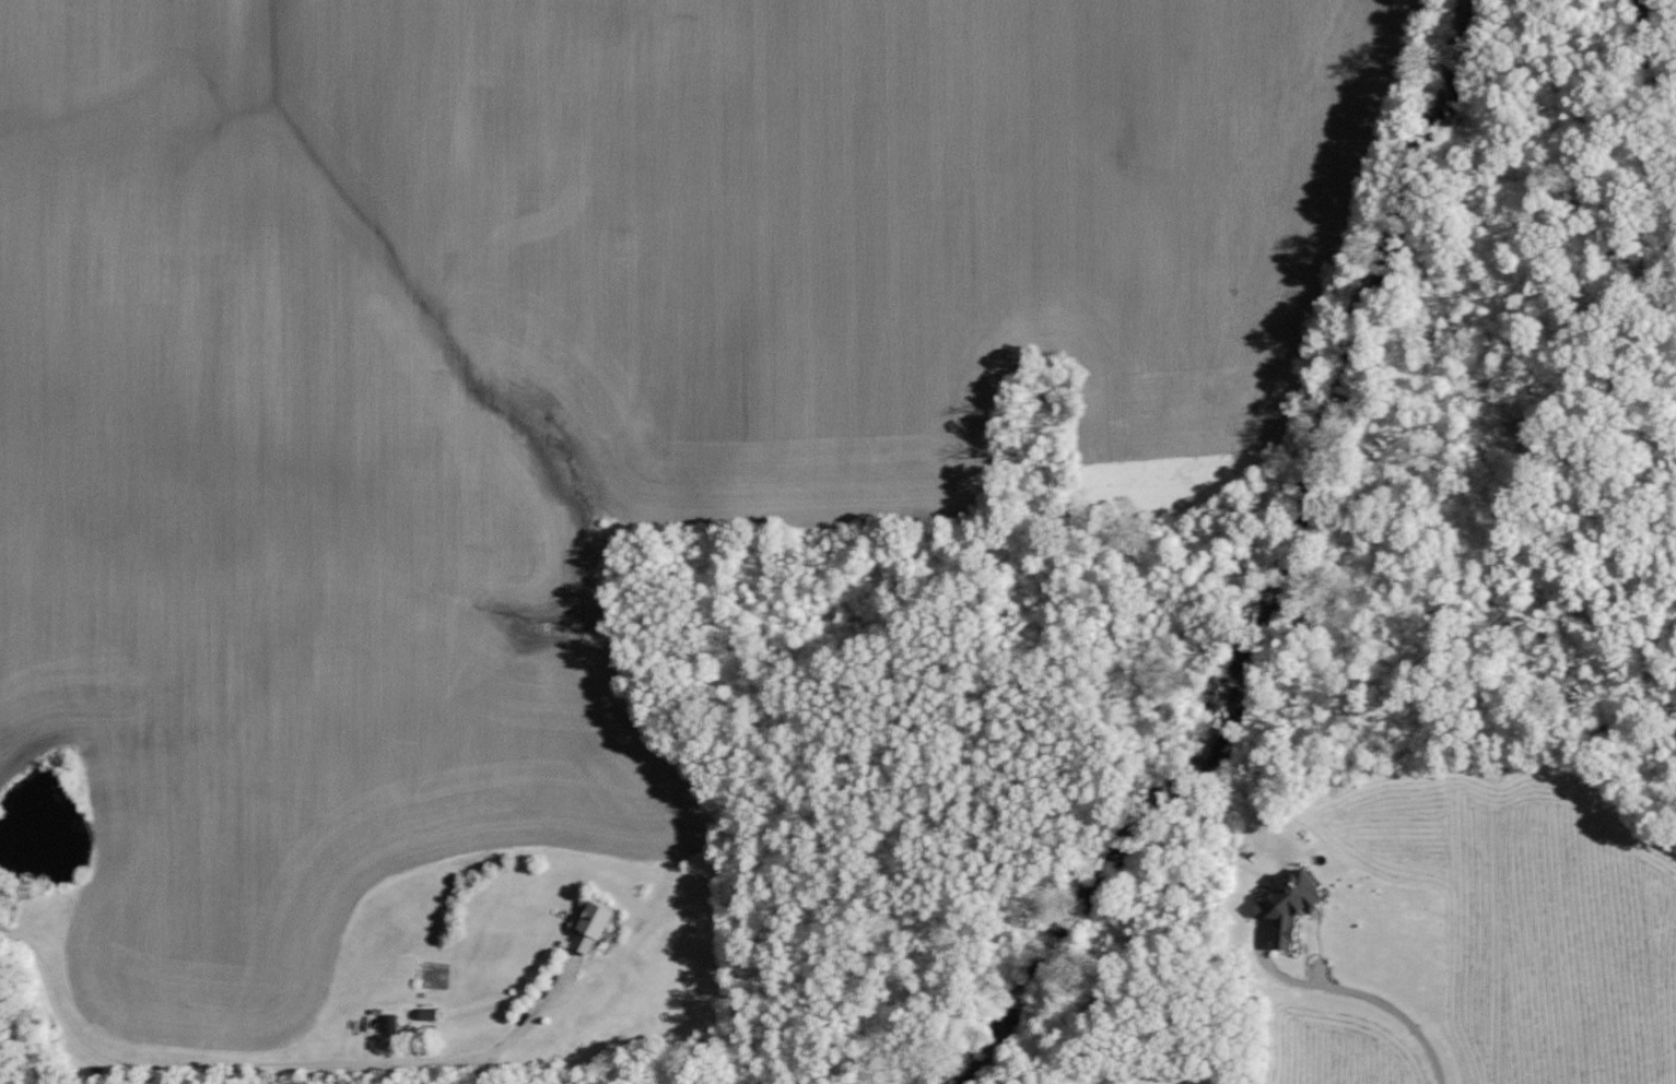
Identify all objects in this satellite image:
building: (1286, 902)
building: (587, 926)
road: (1368, 992)
road: (256, 1061)

